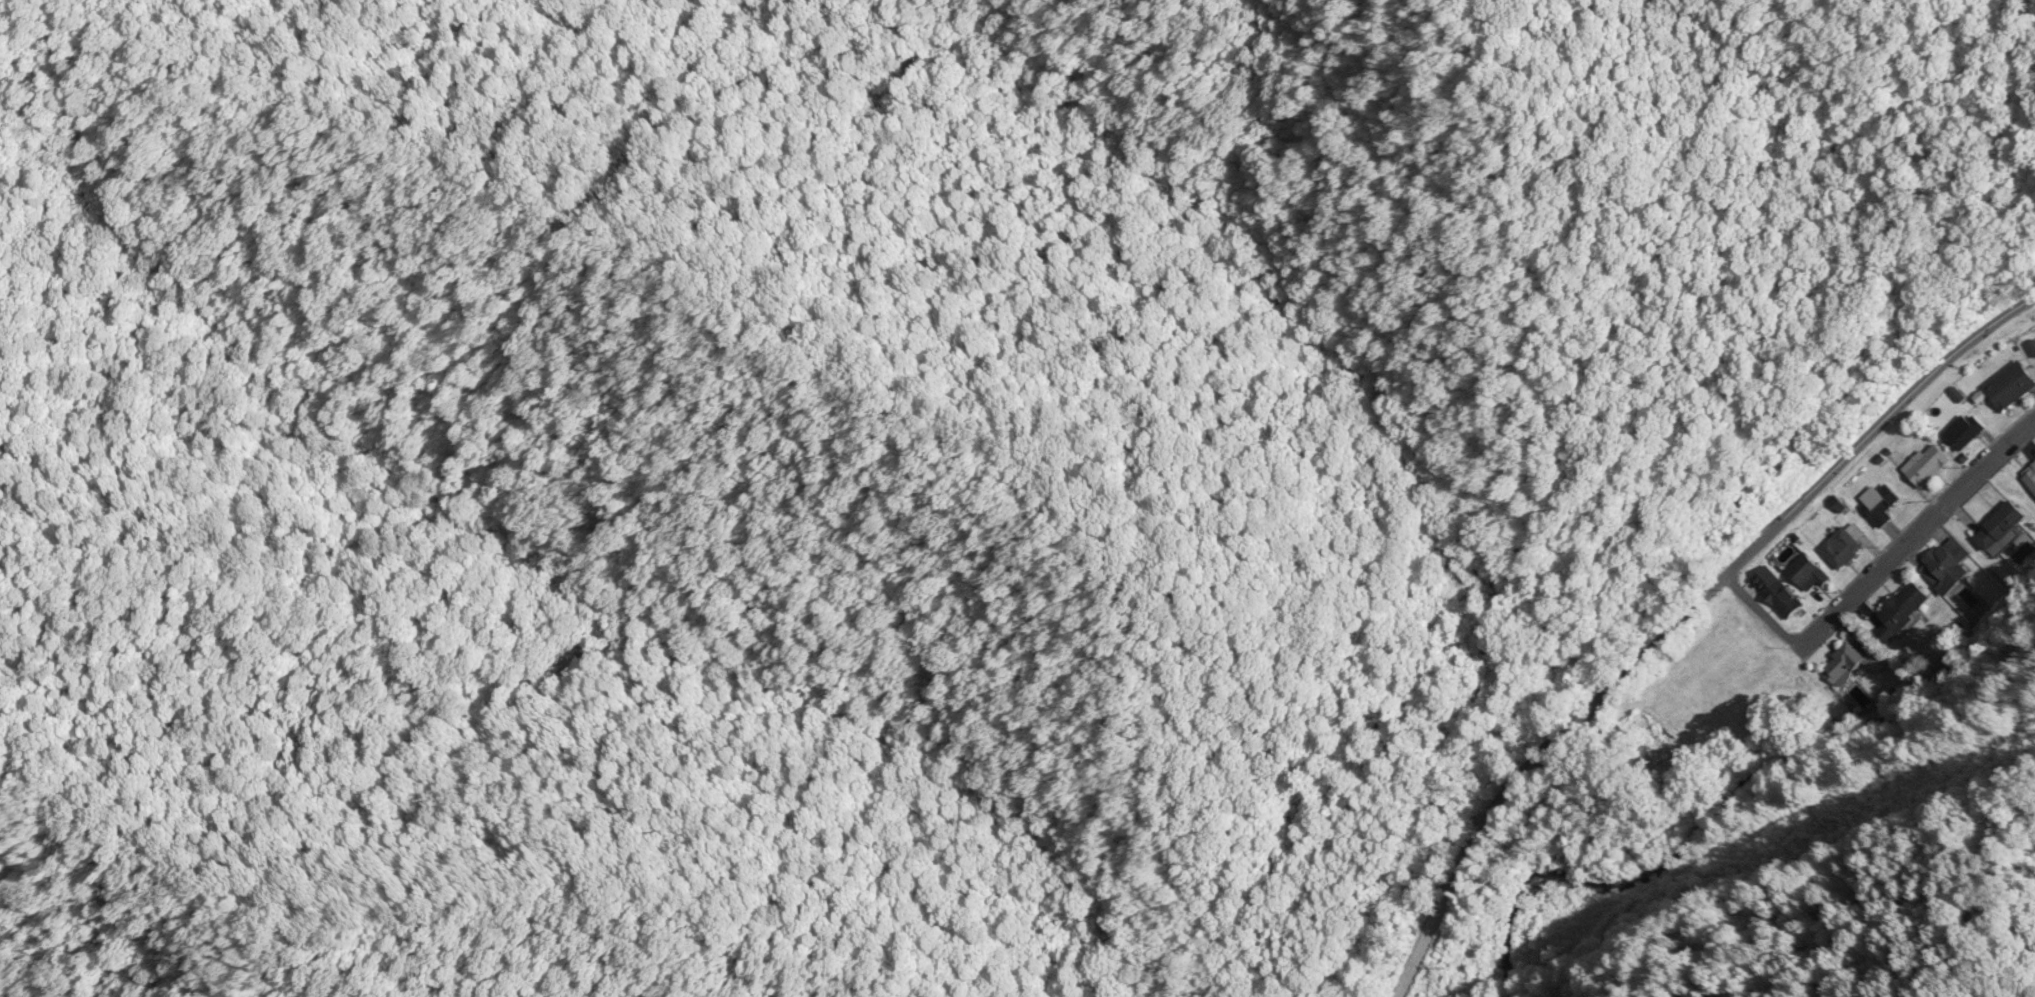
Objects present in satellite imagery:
building: (2034, 345)
building: (2016, 384)
building: (1965, 393)
building: (1989, 396)
building: (1970, 432)
building: (1890, 458)
building: (1935, 465)
building: (2031, 478)
building: (1847, 503)
building: (1887, 503)
building: (2006, 526)
road: (1919, 531)
building: (1851, 545)
building: (1951, 568)
building: (1817, 572)
building: (1785, 592)
road: (1768, 606)
building: (1900, 609)
road: (1676, 624)
building: (1840, 663)

